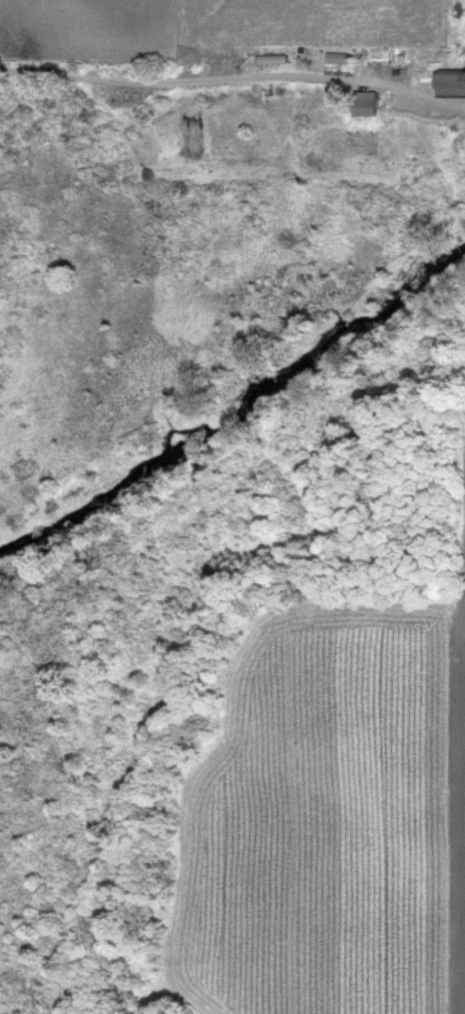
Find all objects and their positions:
building: (386, 57)
road: (232, 80)

